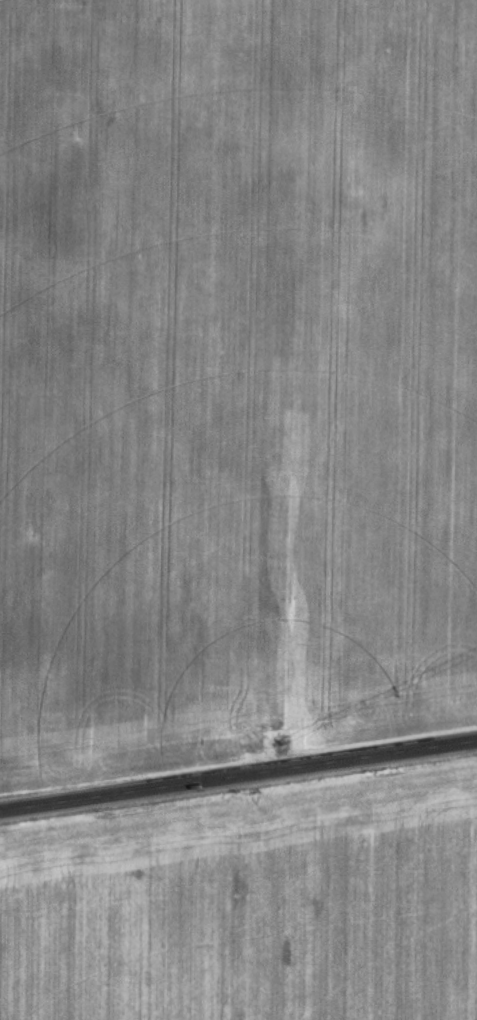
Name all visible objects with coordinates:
road: (238, 774)

